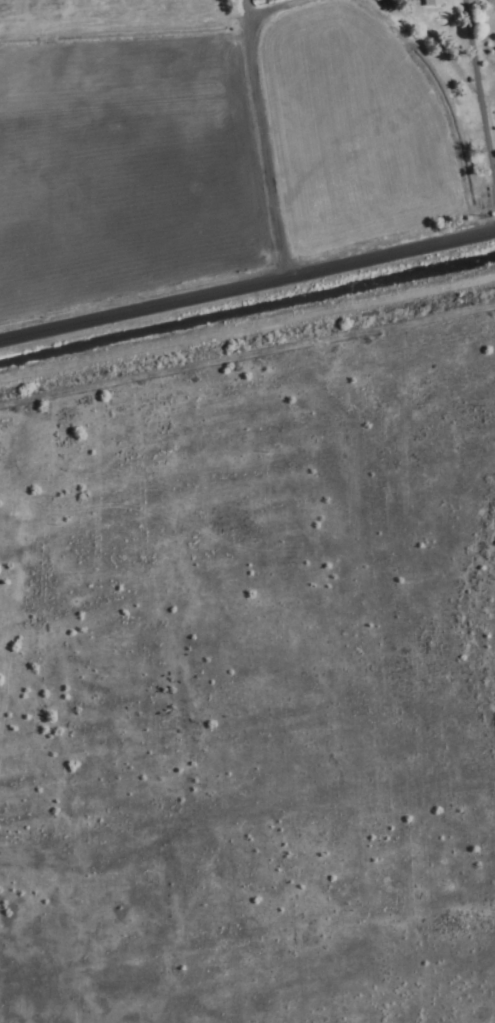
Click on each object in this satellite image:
building: (424, 3)
road: (247, 287)

